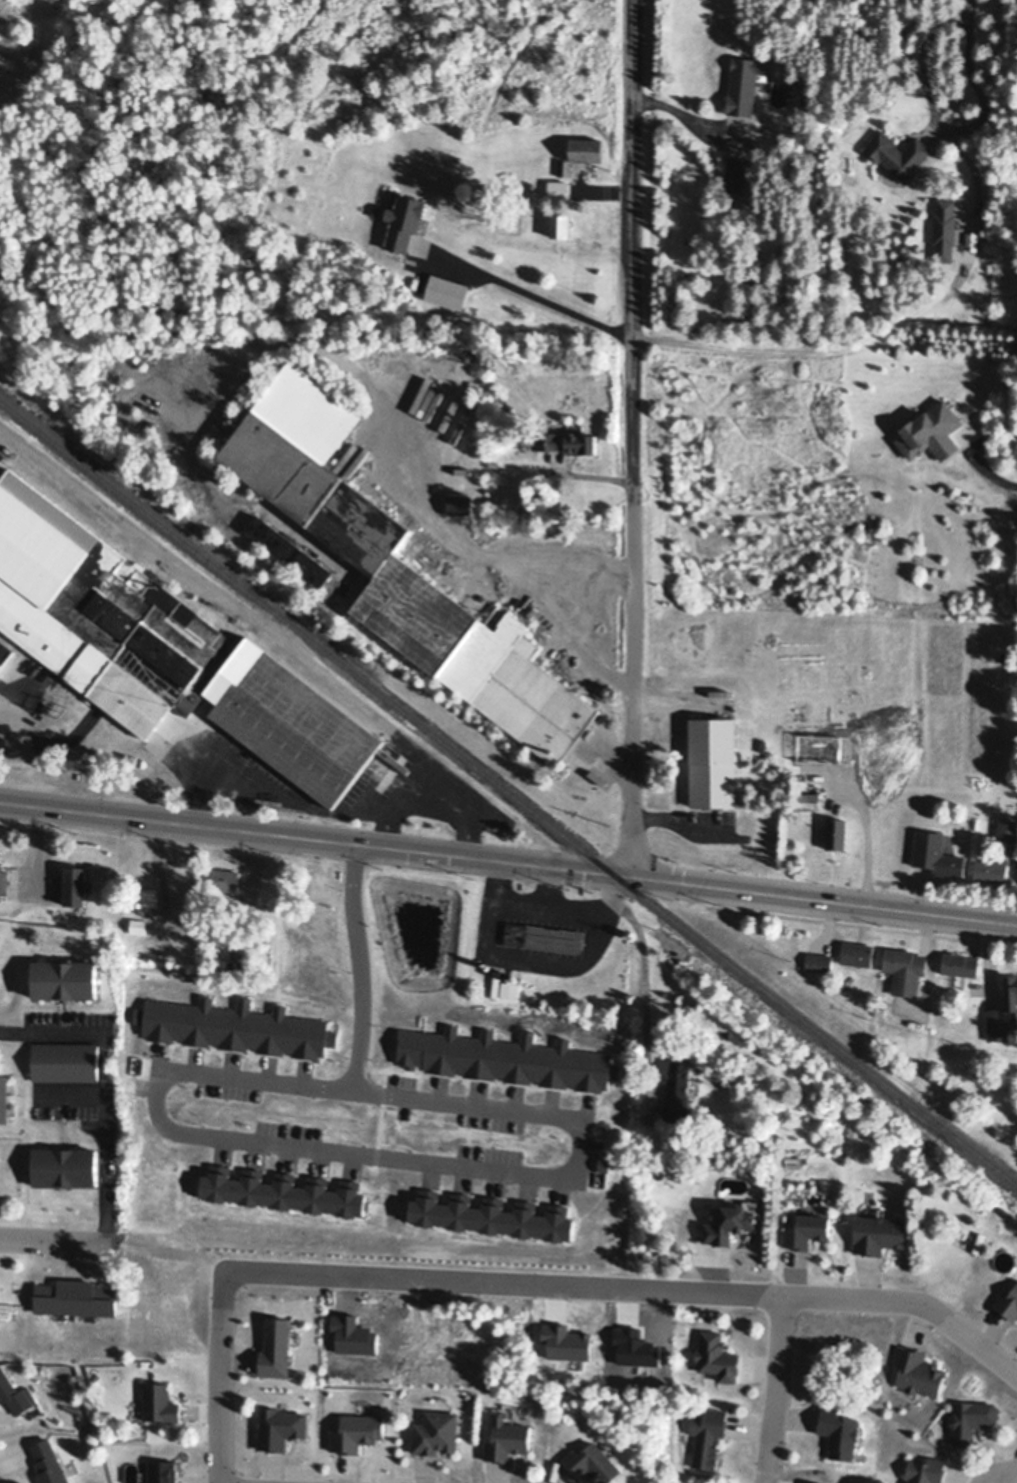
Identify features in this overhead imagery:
road: (973, 4)
building: (744, 86)
road: (681, 112)
road: (947, 128)
building: (581, 157)
building: (897, 157)
building: (735, 178)
building: (531, 189)
building: (587, 190)
building: (558, 193)
building: (403, 225)
building: (560, 232)
building: (944, 232)
road: (530, 293)
building: (447, 295)
road: (634, 438)
building: (569, 447)
building: (528, 461)
building: (460, 509)
building: (288, 545)
road: (474, 546)
building: (402, 563)
road: (579, 611)
building: (159, 641)
building: (4, 648)
building: (839, 748)
building: (892, 753)
building: (713, 756)
road: (227, 760)
railway: (508, 793)
building: (806, 798)
road: (432, 799)
building: (1007, 827)
building: (837, 829)
road: (31, 841)
building: (936, 851)
road: (508, 862)
building: (990, 867)
building: (225, 876)
building: (3, 877)
building: (74, 880)
building: (144, 894)
building: (225, 902)
building: (324, 922)
building: (138, 923)
building: (554, 936)
building: (128, 937)
building: (857, 950)
building: (819, 959)
building: (960, 961)
building: (906, 964)
building: (65, 973)
building: (264, 988)
building: (510, 988)
building: (1004, 1009)
building: (879, 1010)
road: (39, 1032)
building: (66, 1058)
building: (679, 1086)
building: (4, 1092)
road: (272, 1141)
building: (64, 1162)
building: (728, 1219)
building: (806, 1227)
building: (878, 1230)
road: (47, 1240)
road: (423, 1273)
road: (714, 1286)
building: (76, 1294)
building: (1007, 1301)
road: (912, 1305)
building: (276, 1344)
building: (717, 1354)
building: (917, 1369)
road: (221, 1385)
building: (14, 1389)
road: (776, 1391)
building: (160, 1400)
building: (969, 1417)
building: (436, 1428)
building: (356, 1429)
building: (839, 1429)
building: (507, 1435)
building: (707, 1435)
building: (592, 1459)
building: (50, 1461)
building: (925, 1469)
road: (1011, 1476)

